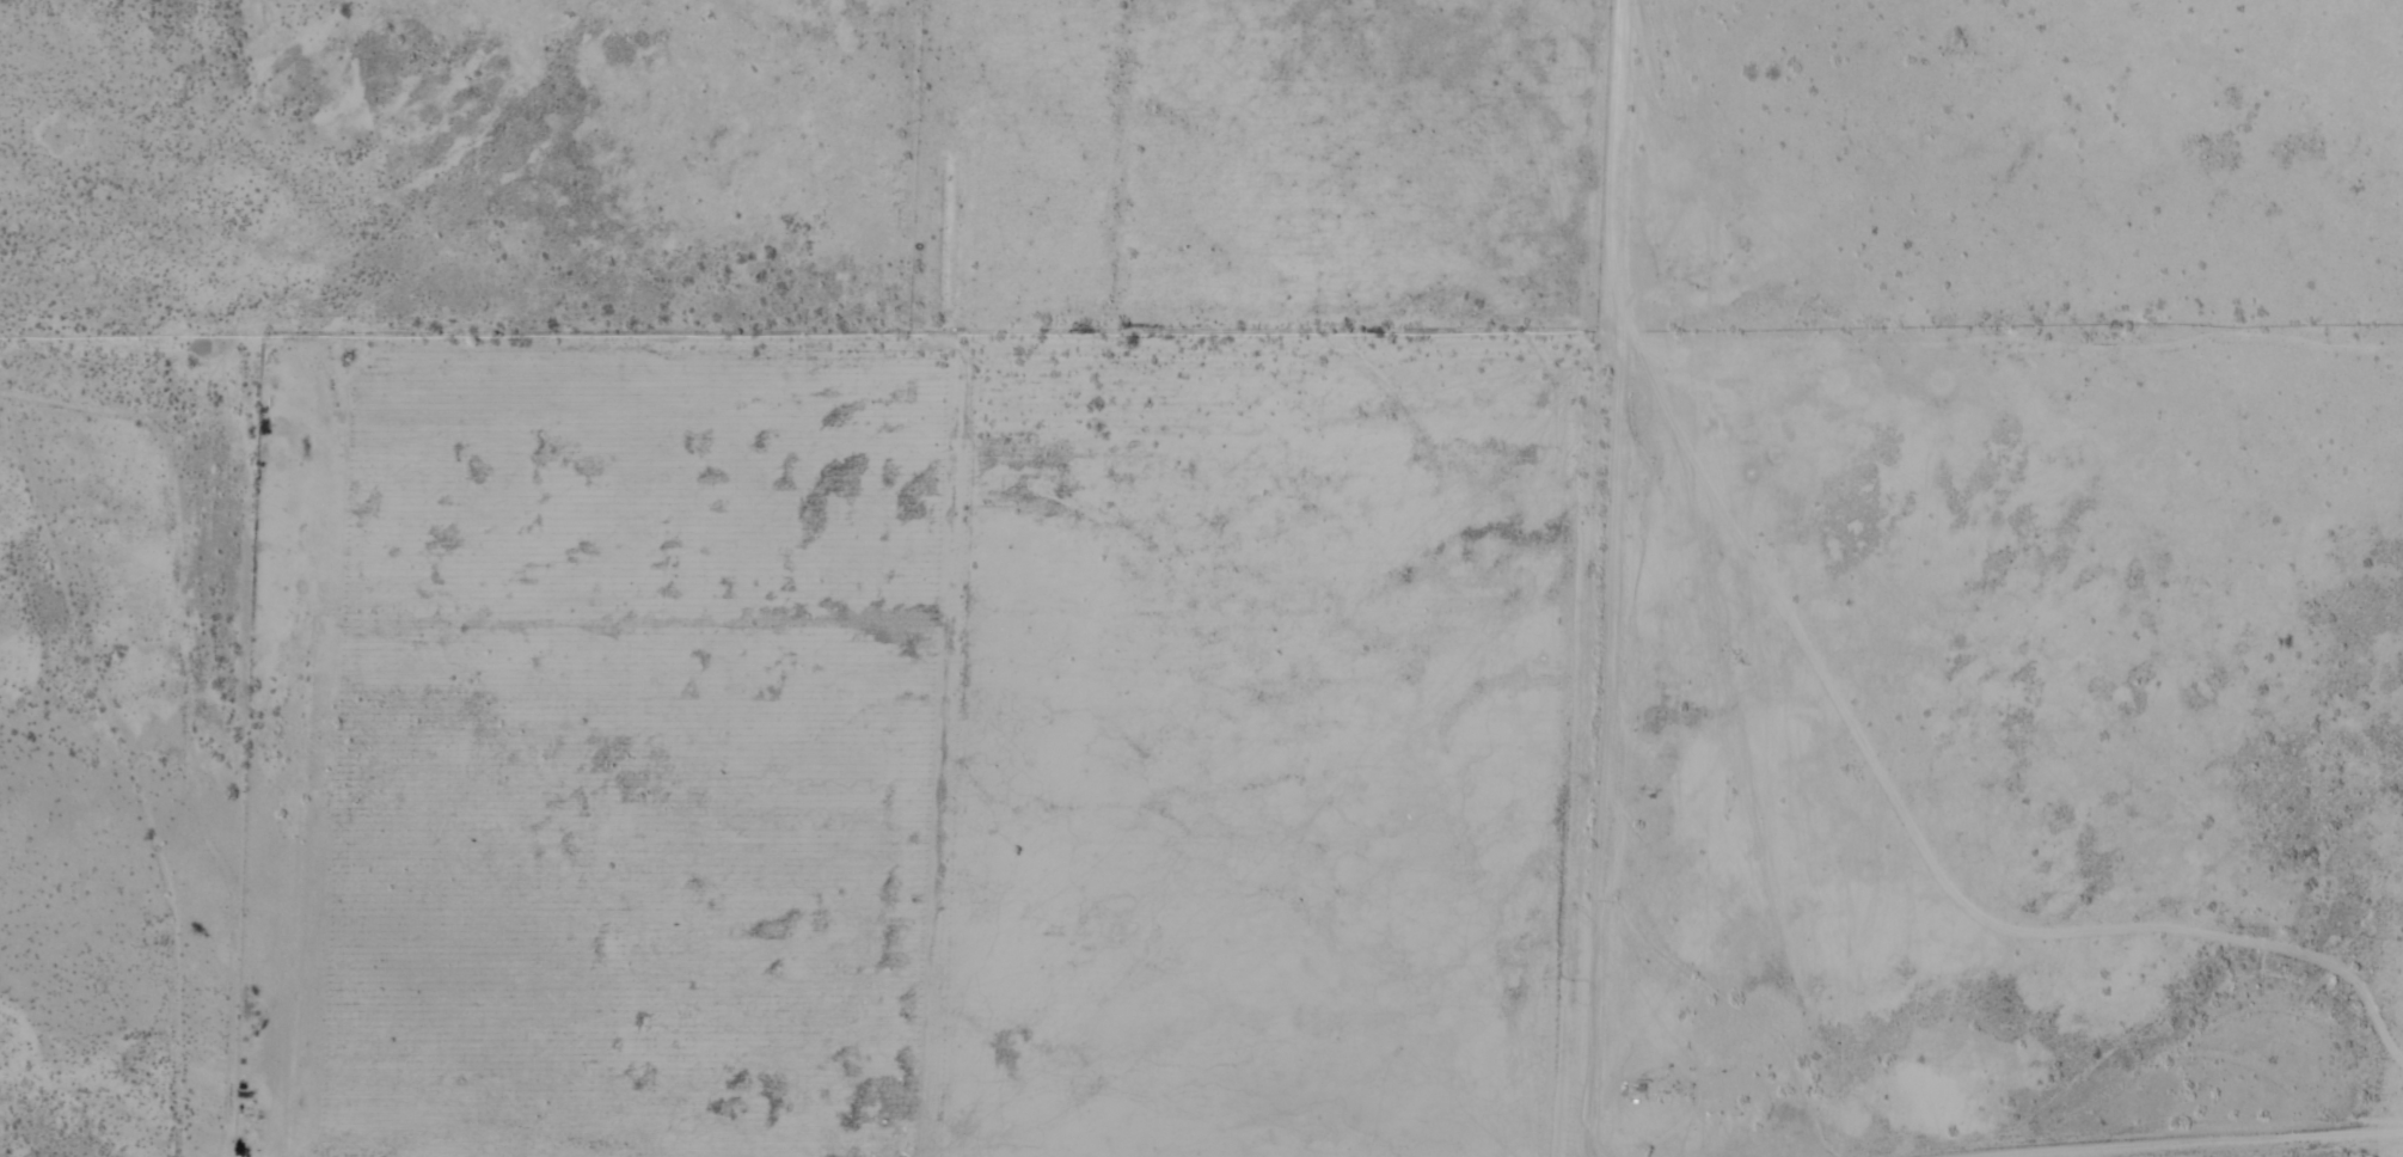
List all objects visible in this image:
road: (2195, 1143)

